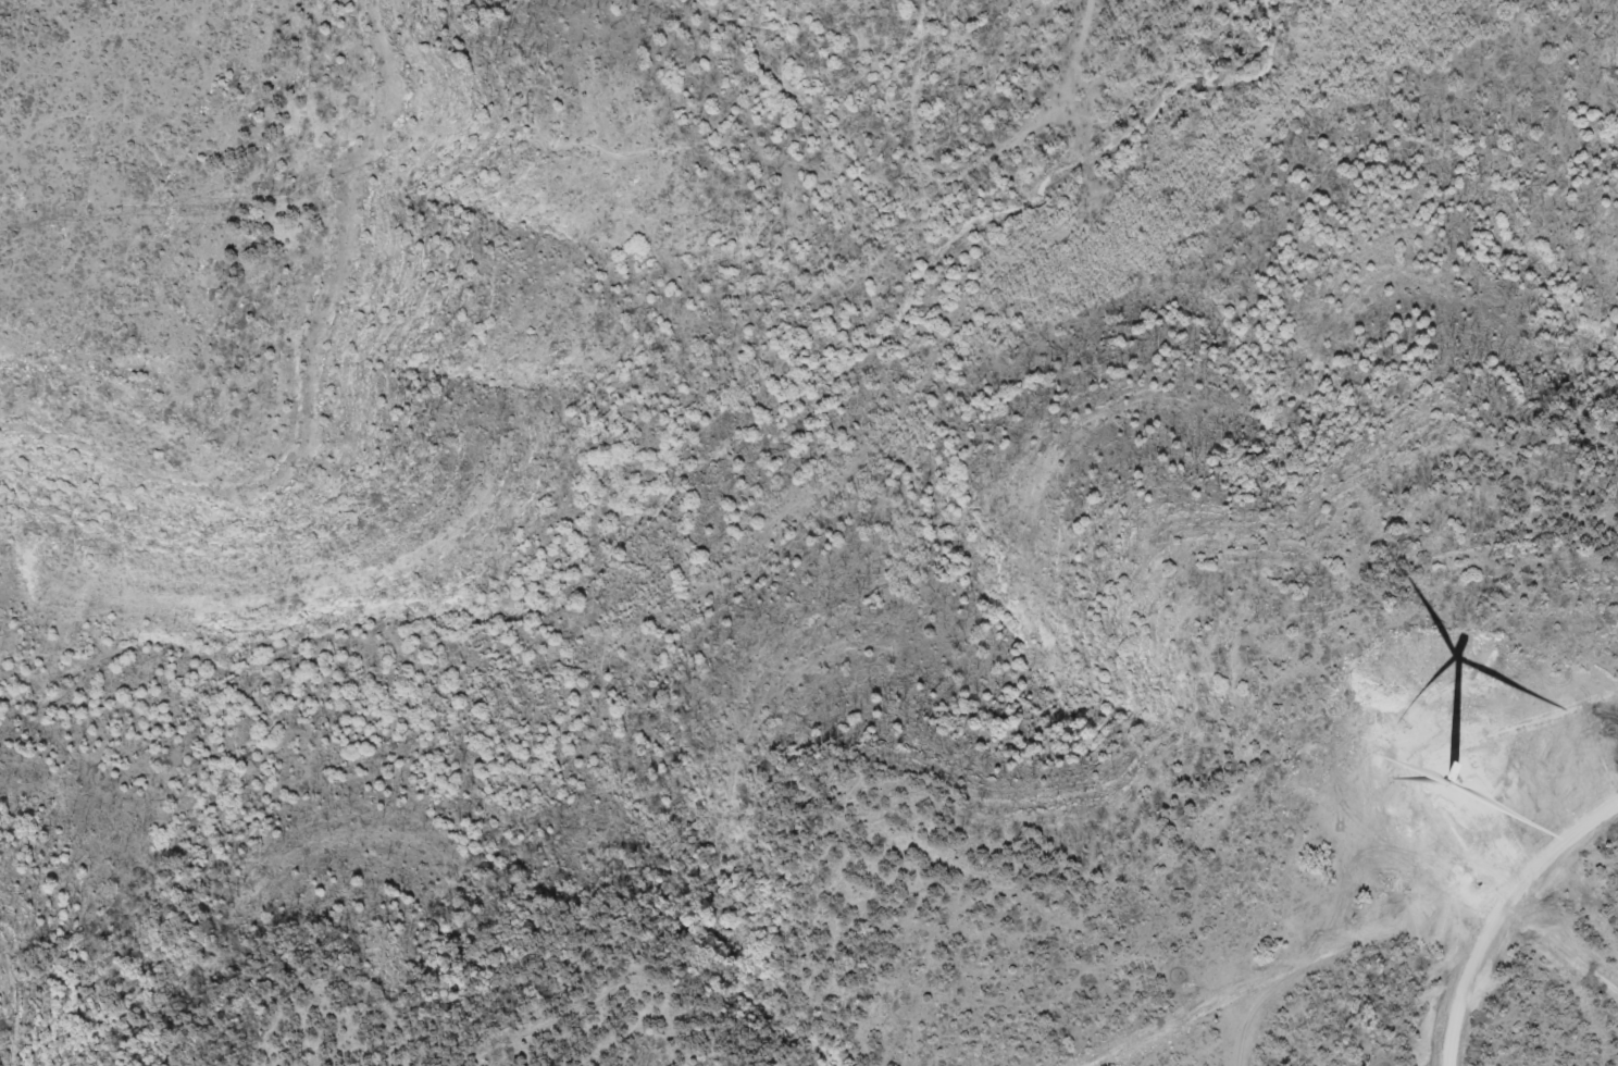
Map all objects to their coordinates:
wind turbine: (1443, 747)

